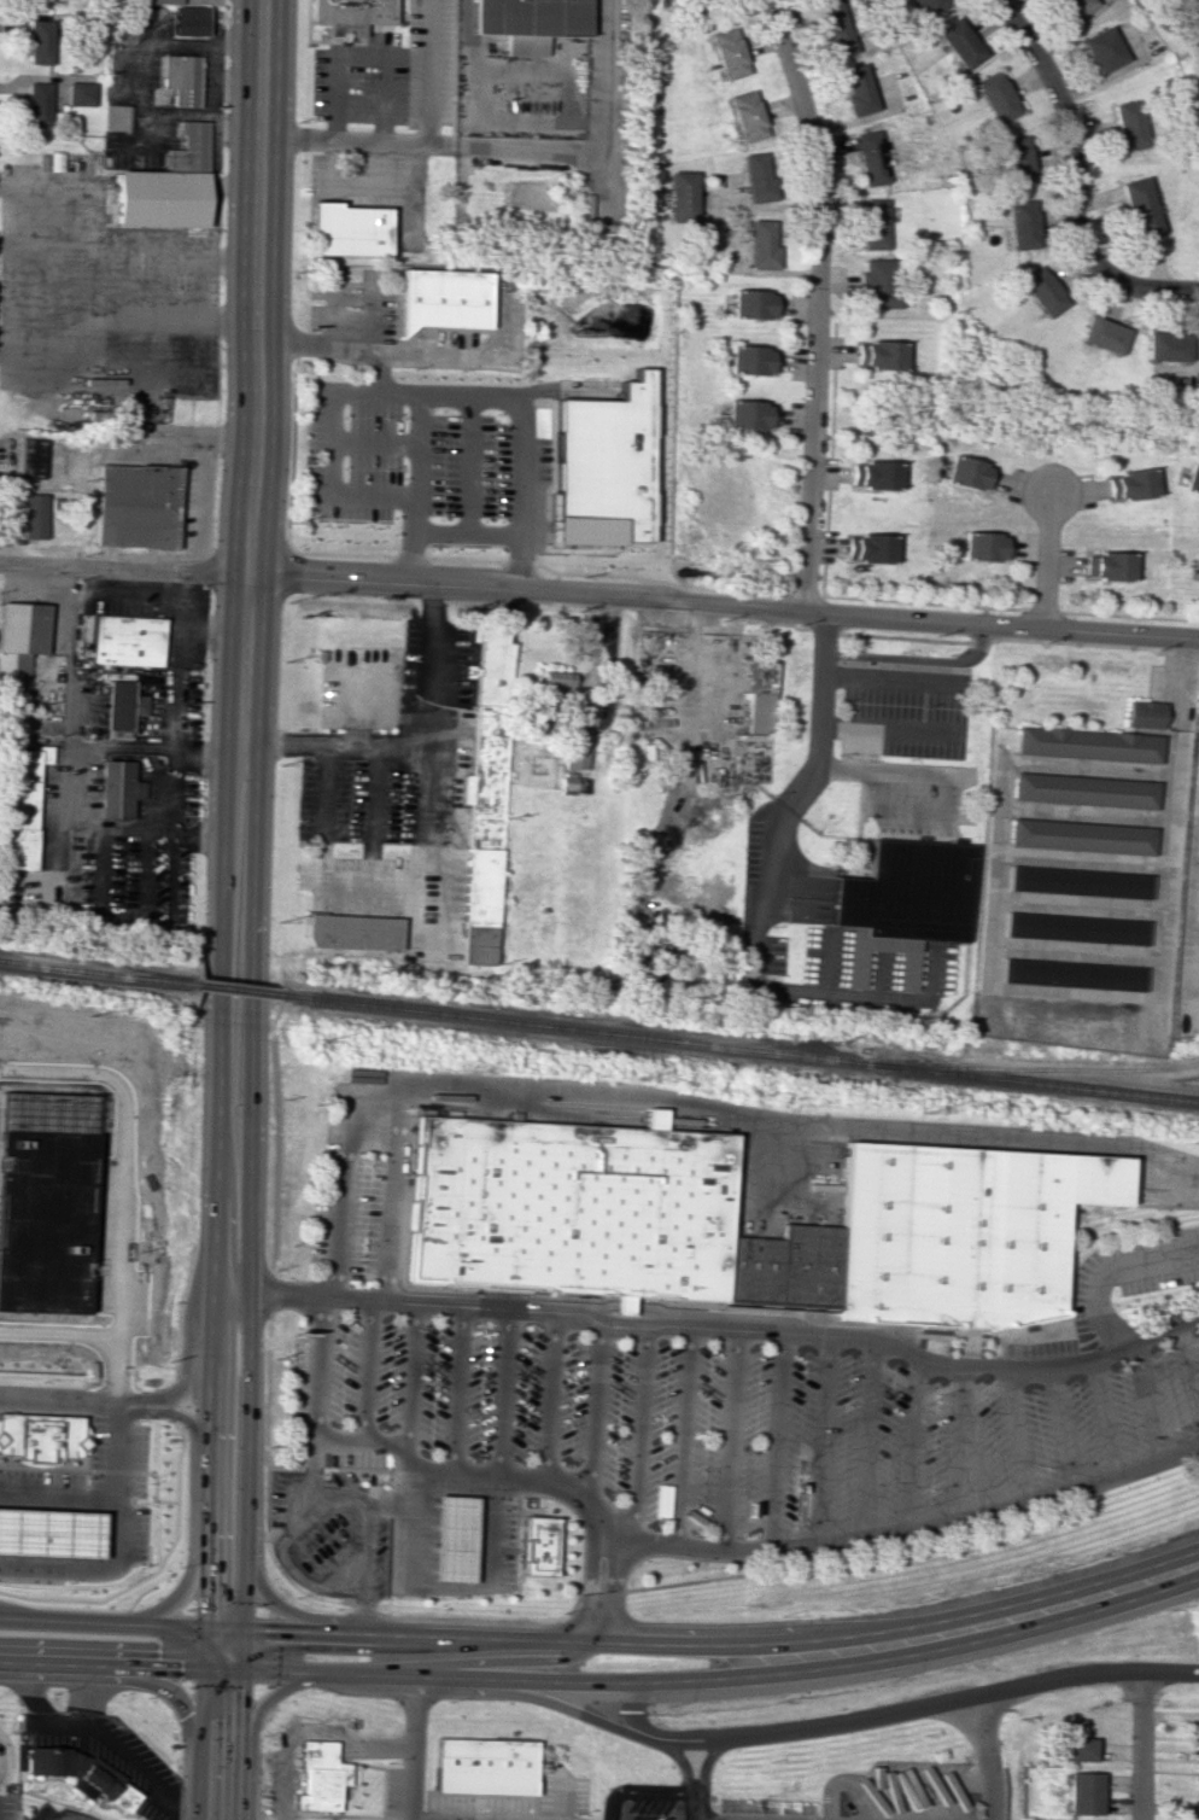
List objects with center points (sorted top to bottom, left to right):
building: (148, 1)
building: (37, 5)
building: (925, 7)
building: (1072, 7)
building: (1189, 8)
building: (351, 16)
building: (525, 17)
building: (187, 21)
building: (835, 28)
building: (39, 41)
building: (958, 42)
building: (1101, 49)
building: (726, 53)
road: (341, 56)
parking lot: (428, 62)
road: (428, 70)
building: (177, 78)
building: (856, 91)
building: (78, 93)
building: (995, 97)
road: (386, 99)
building: (35, 104)
building: (745, 116)
building: (113, 117)
building: (1128, 124)
road: (343, 140)
road: (510, 145)
building: (186, 147)
road: (1070, 150)
building: (870, 158)
building: (1014, 161)
building: (756, 176)
building: (680, 196)
building: (157, 200)
building: (1137, 208)
building: (873, 223)
building: (1020, 224)
building: (345, 229)
road: (43, 241)
building: (760, 245)
road: (93, 259)
road: (12, 281)
building: (877, 285)
road: (1169, 287)
road: (351, 290)
building: (1041, 291)
building: (443, 298)
road: (815, 302)
parking lot: (353, 303)
building: (753, 304)
building: (1101, 334)
parking lot: (454, 339)
road: (11, 345)
building: (1165, 345)
road: (5, 352)
building: (876, 355)
road: (443, 357)
building: (750, 360)
road: (256, 369)
road: (410, 389)
building: (135, 412)
building: (747, 415)
road: (520, 436)
building: (29, 457)
building: (473, 457)
parking lot: (358, 462)
building: (601, 467)
building: (965, 473)
building: (870, 474)
building: (1189, 479)
building: (1127, 484)
building: (133, 504)
building: (33, 515)
road: (329, 533)
building: (981, 547)
building: (866, 548)
road: (1042, 559)
building: (1105, 566)
building: (1197, 571)
road: (599, 595)
building: (128, 640)
building: (19, 644)
parking lot: (410, 657)
road: (918, 658)
building: (489, 667)
building: (551, 682)
building: (760, 696)
building: (124, 704)
parking lot: (899, 712)
building: (1145, 713)
road: (820, 714)
building: (1089, 743)
road: (419, 747)
building: (574, 757)
road: (844, 768)
building: (485, 777)
building: (572, 783)
building: (121, 789)
building: (1086, 791)
parking lot: (919, 798)
parking lot: (359, 804)
building: (19, 805)
road: (948, 805)
road: (328, 817)
road: (374, 819)
building: (1083, 836)
road: (431, 864)
parking lot: (373, 873)
building: (1080, 881)
building: (911, 889)
road: (1189, 889)
building: (479, 905)
building: (1198, 906)
parking lot: (435, 927)
building: (1077, 928)
building: (353, 932)
building: (1195, 966)
railway: (95, 969)
building: (1074, 974)
road: (762, 980)
railway: (232, 988)
power tower: (88, 1015)
railway: (736, 1048)
power tower: (315, 1050)
railway: (1041, 1068)
power tower: (632, 1080)
road: (675, 1107)
power tower: (918, 1113)
road: (280, 1156)
building: (569, 1206)
building: (47, 1215)
parking lot: (353, 1217)
building: (960, 1232)
building: (809, 1264)
building: (751, 1268)
road: (1110, 1268)
parking lot: (1134, 1273)
road: (248, 1278)
road: (220, 1279)
road: (275, 1294)
road: (745, 1313)
road: (715, 1329)
road: (187, 1358)
road: (369, 1371)
road: (413, 1381)
street lamp: (42, 1382)
road: (1186, 1382)
street lamp: (104, 1384)
road: (457, 1387)
road: (503, 1390)
road: (270, 1393)
road: (550, 1394)
road: (65, 1400)
road: (595, 1401)
road: (1145, 1401)
road: (175, 1413)
parking lot: (719, 1418)
road: (1101, 1418)
street lamp: (141, 1419)
street lamp: (165, 1421)
road: (1059, 1431)
road: (638, 1435)
building: (40, 1437)
road: (1017, 1437)
road: (682, 1439)
road: (821, 1440)
road: (730, 1441)
road: (776, 1441)
road: (866, 1441)
road: (964, 1442)
road: (911, 1443)
parking lot: (117, 1453)
road: (457, 1466)
road: (100, 1469)
parking lot: (41, 1476)
street lamp: (87, 1478)
street lamp: (150, 1482)
road: (177, 1489)
road: (312, 1493)
road: (394, 1495)
road: (107, 1499)
street lamp: (142, 1503)
road: (903, 1532)
building: (49, 1533)
gas station: (49, 1533)
parking lot: (139, 1535)
building: (451, 1538)
road: (367, 1539)
gas station: (454, 1539)
building: (527, 1542)
road: (283, 1551)
road: (189, 1556)
road: (90, 1565)
street lamp: (177, 1568)
street lamp: (66, 1581)
road: (677, 1582)
road: (349, 1583)
road: (449, 1585)
road: (604, 1592)
road: (276, 1603)
road: (1076, 1604)
street lamp: (80, 1605)
road: (363, 1606)
road: (492, 1622)
traffic signals: (204, 1624)
traffic signals: (240, 1627)
road: (475, 1632)
road: (513, 1656)
traffic signals: (203, 1664)
traffic signals: (239, 1666)
road: (478, 1679)
road: (140, 1681)
road: (8, 1690)
road: (84, 1691)
street lamp: (52, 1693)
street lamp: (145, 1697)
road: (549, 1698)
road: (889, 1711)
fountain: (314, 1722)
road: (250, 1728)
road: (101, 1733)
road: (1136, 1745)
road: (413, 1749)
building: (1069, 1749)
road: (983, 1756)
building: (1197, 1757)
road: (703, 1758)
road: (0, 1762)
building: (482, 1762)
building: (82, 1772)
road: (686, 1775)
building: (317, 1777)
road: (638, 1792)
building: (1080, 1792)
road: (555, 1798)
parking lot: (6, 1807)
building: (1189, 1810)

